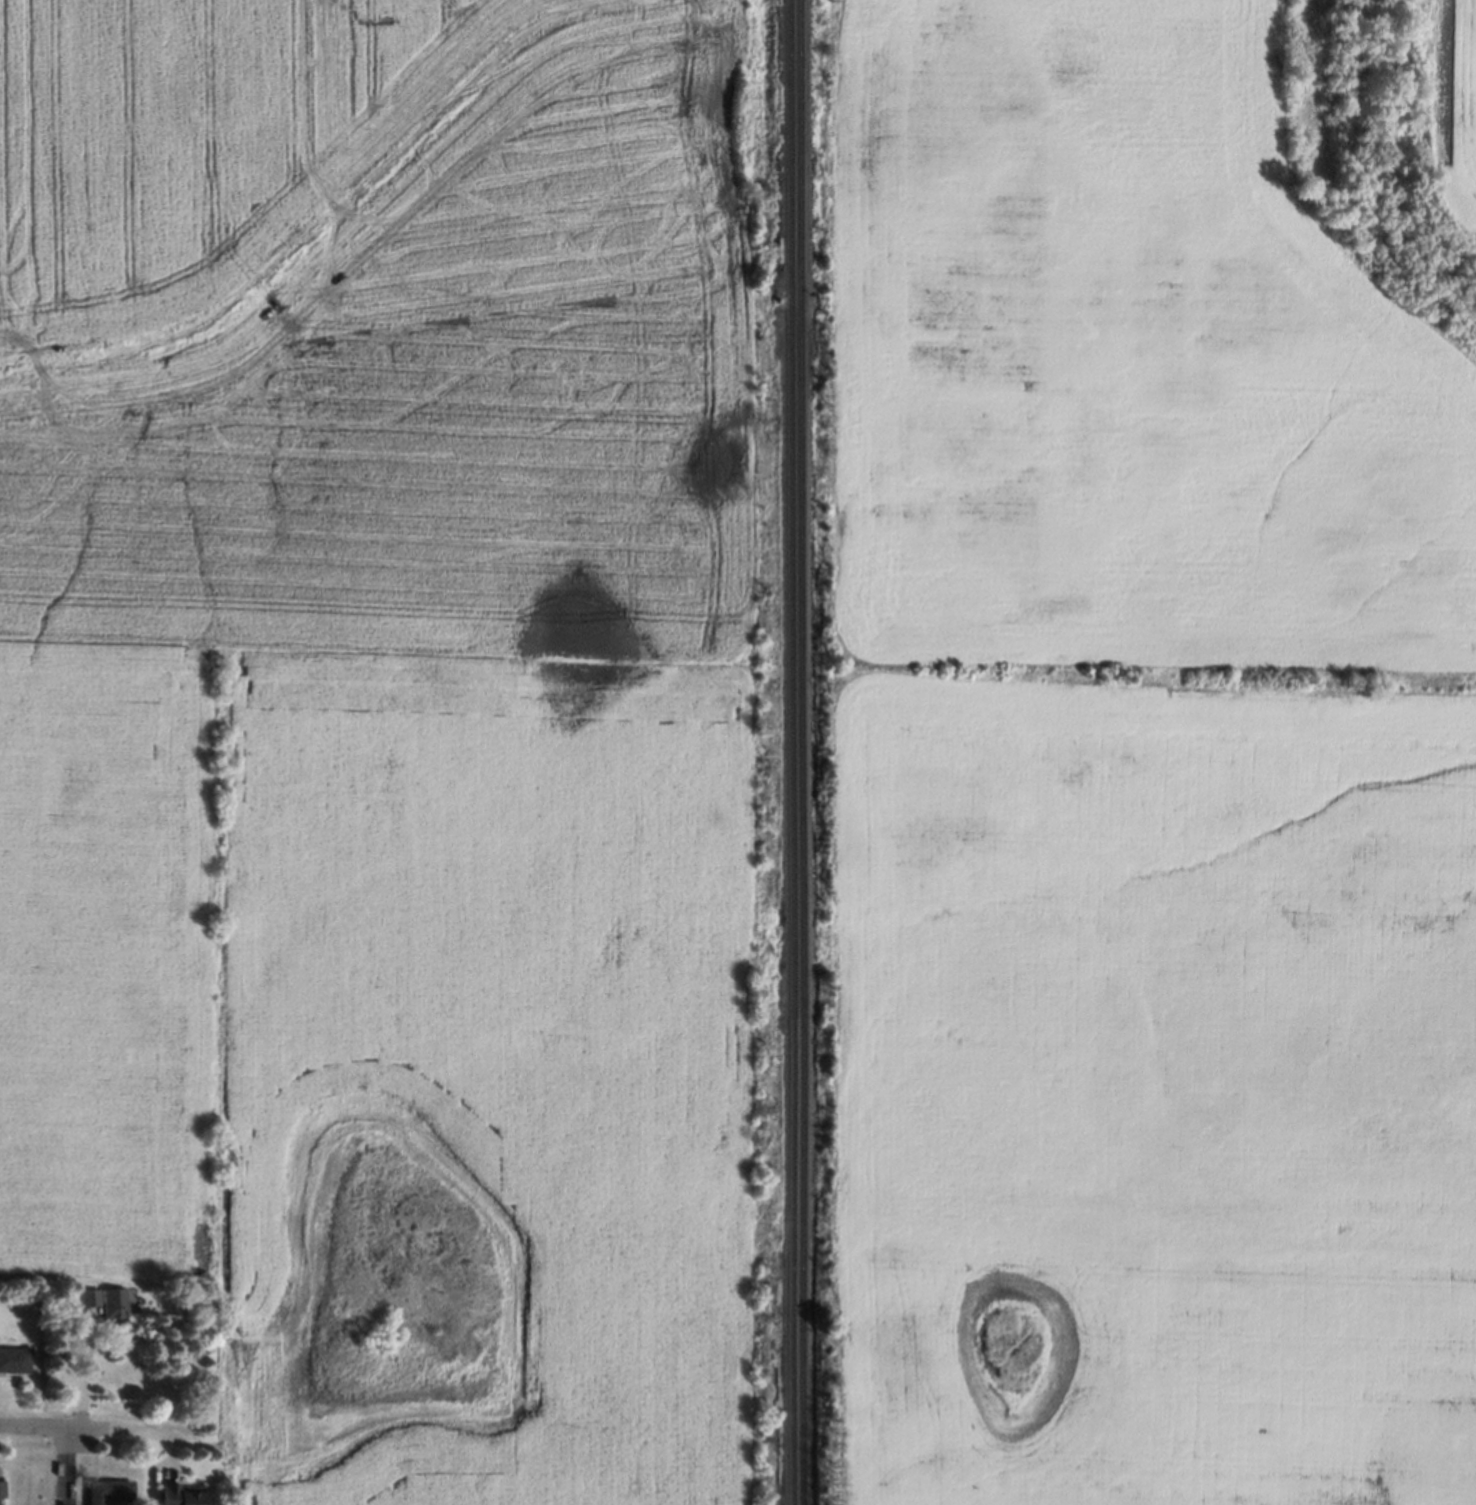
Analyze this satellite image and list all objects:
crop: (1459, 109)
crop: (198, 147)
railway: (790, 752)
railway: (800, 752)
building: (85, 1295)
building: (110, 1300)
building: (12, 1358)
road: (85, 1372)
road: (84, 1425)
building: (103, 1490)
building: (1, 1492)
building: (176, 1494)

